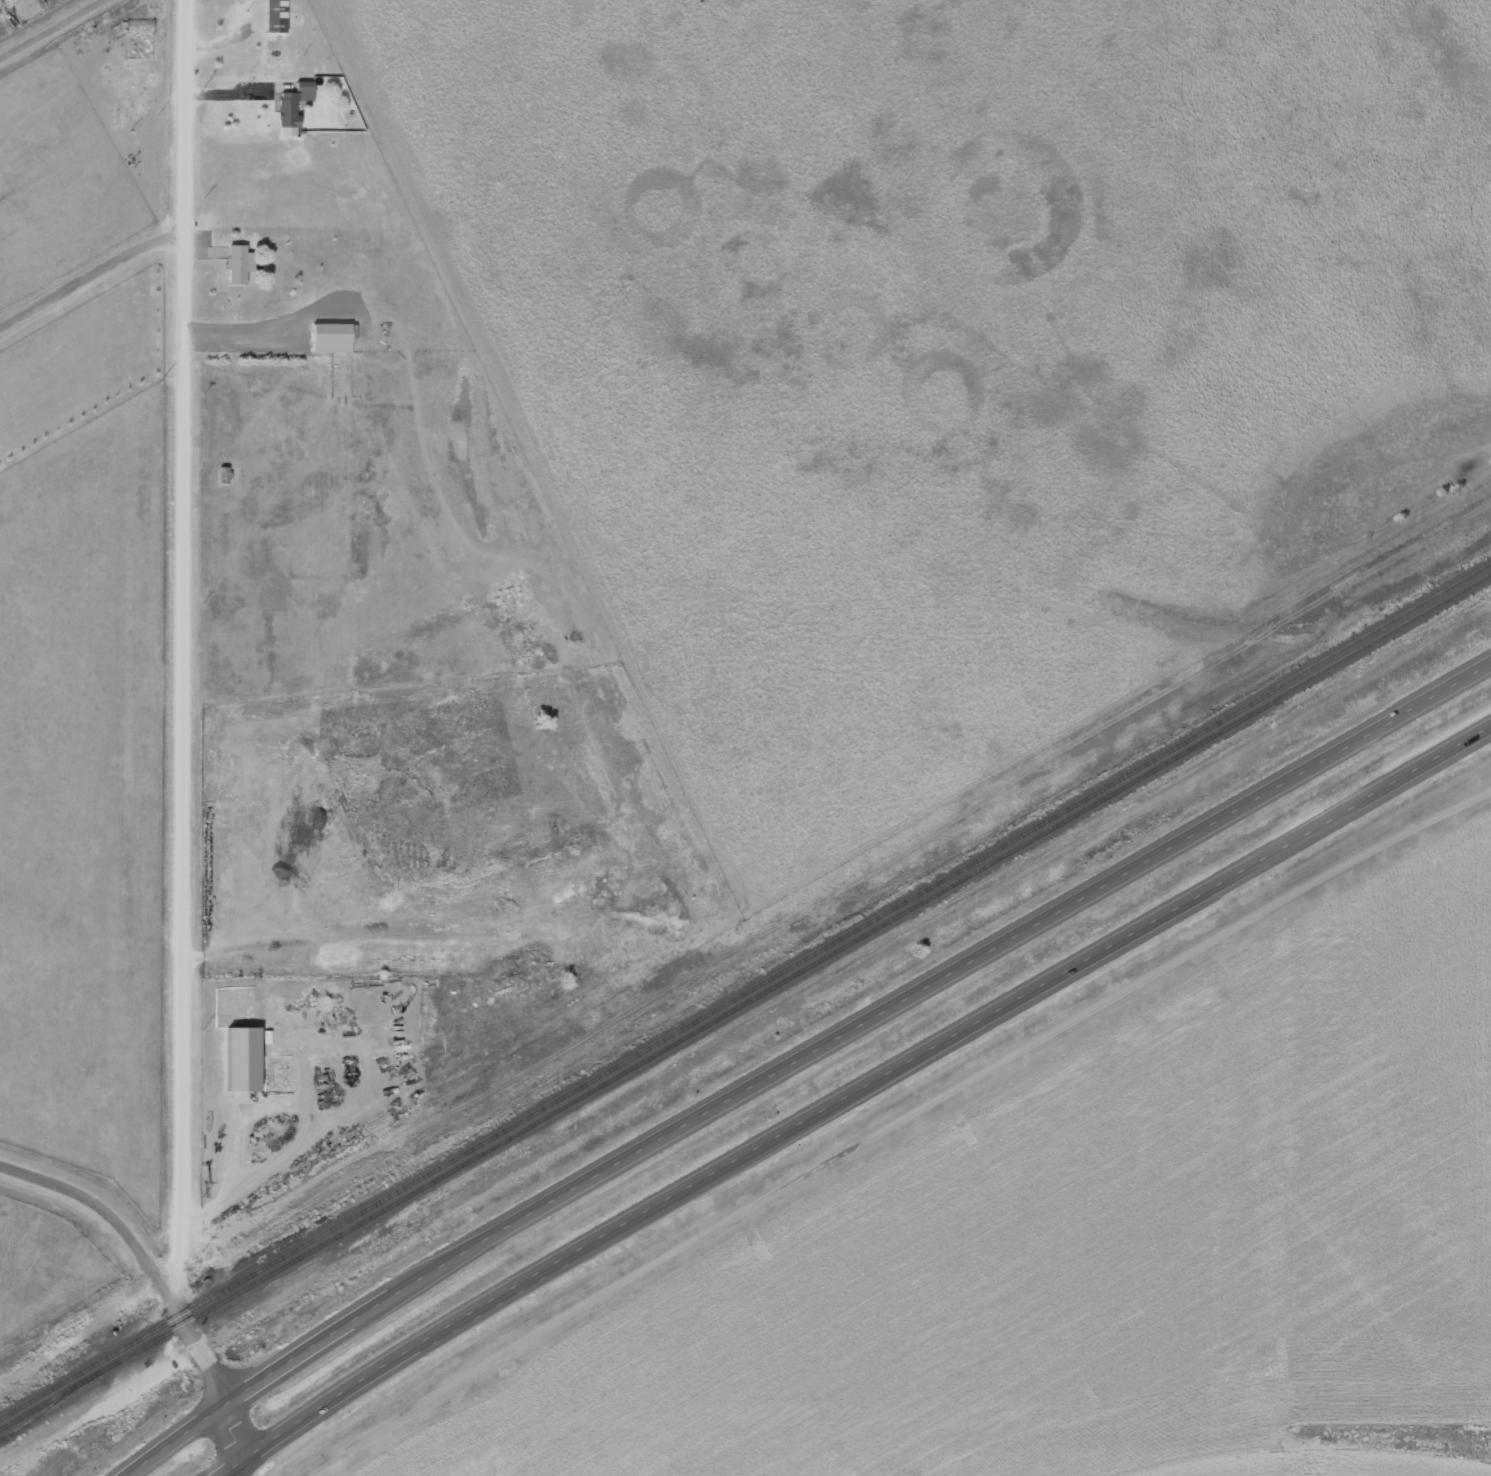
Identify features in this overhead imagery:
building: (275, 9)
building: (137, 16)
road: (48, 27)
building: (291, 93)
building: (235, 251)
road: (87, 278)
building: (330, 325)
road: (180, 646)
railway: (745, 991)
railway: (745, 1000)
building: (243, 1045)
road: (801, 1061)
road: (850, 1095)
road: (102, 1204)
road: (200, 1347)
railway: (47, 1405)
road: (240, 1440)

